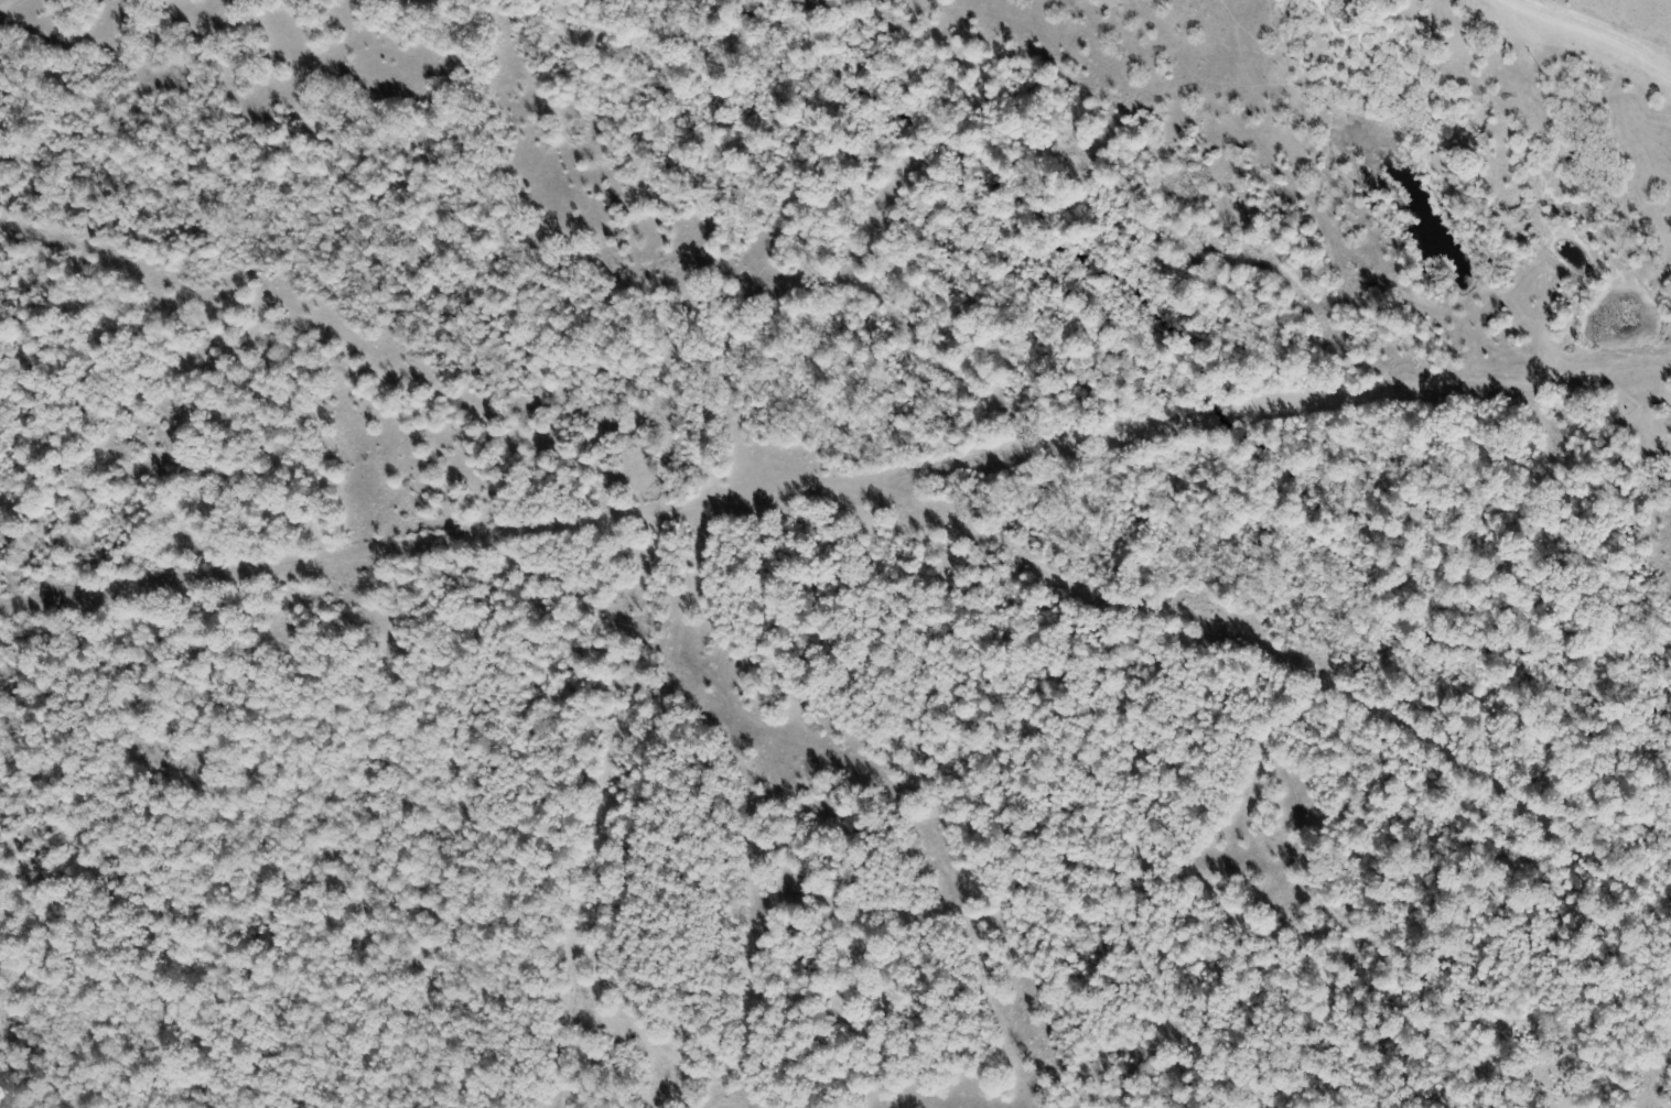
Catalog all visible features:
road: (1607, 23)

